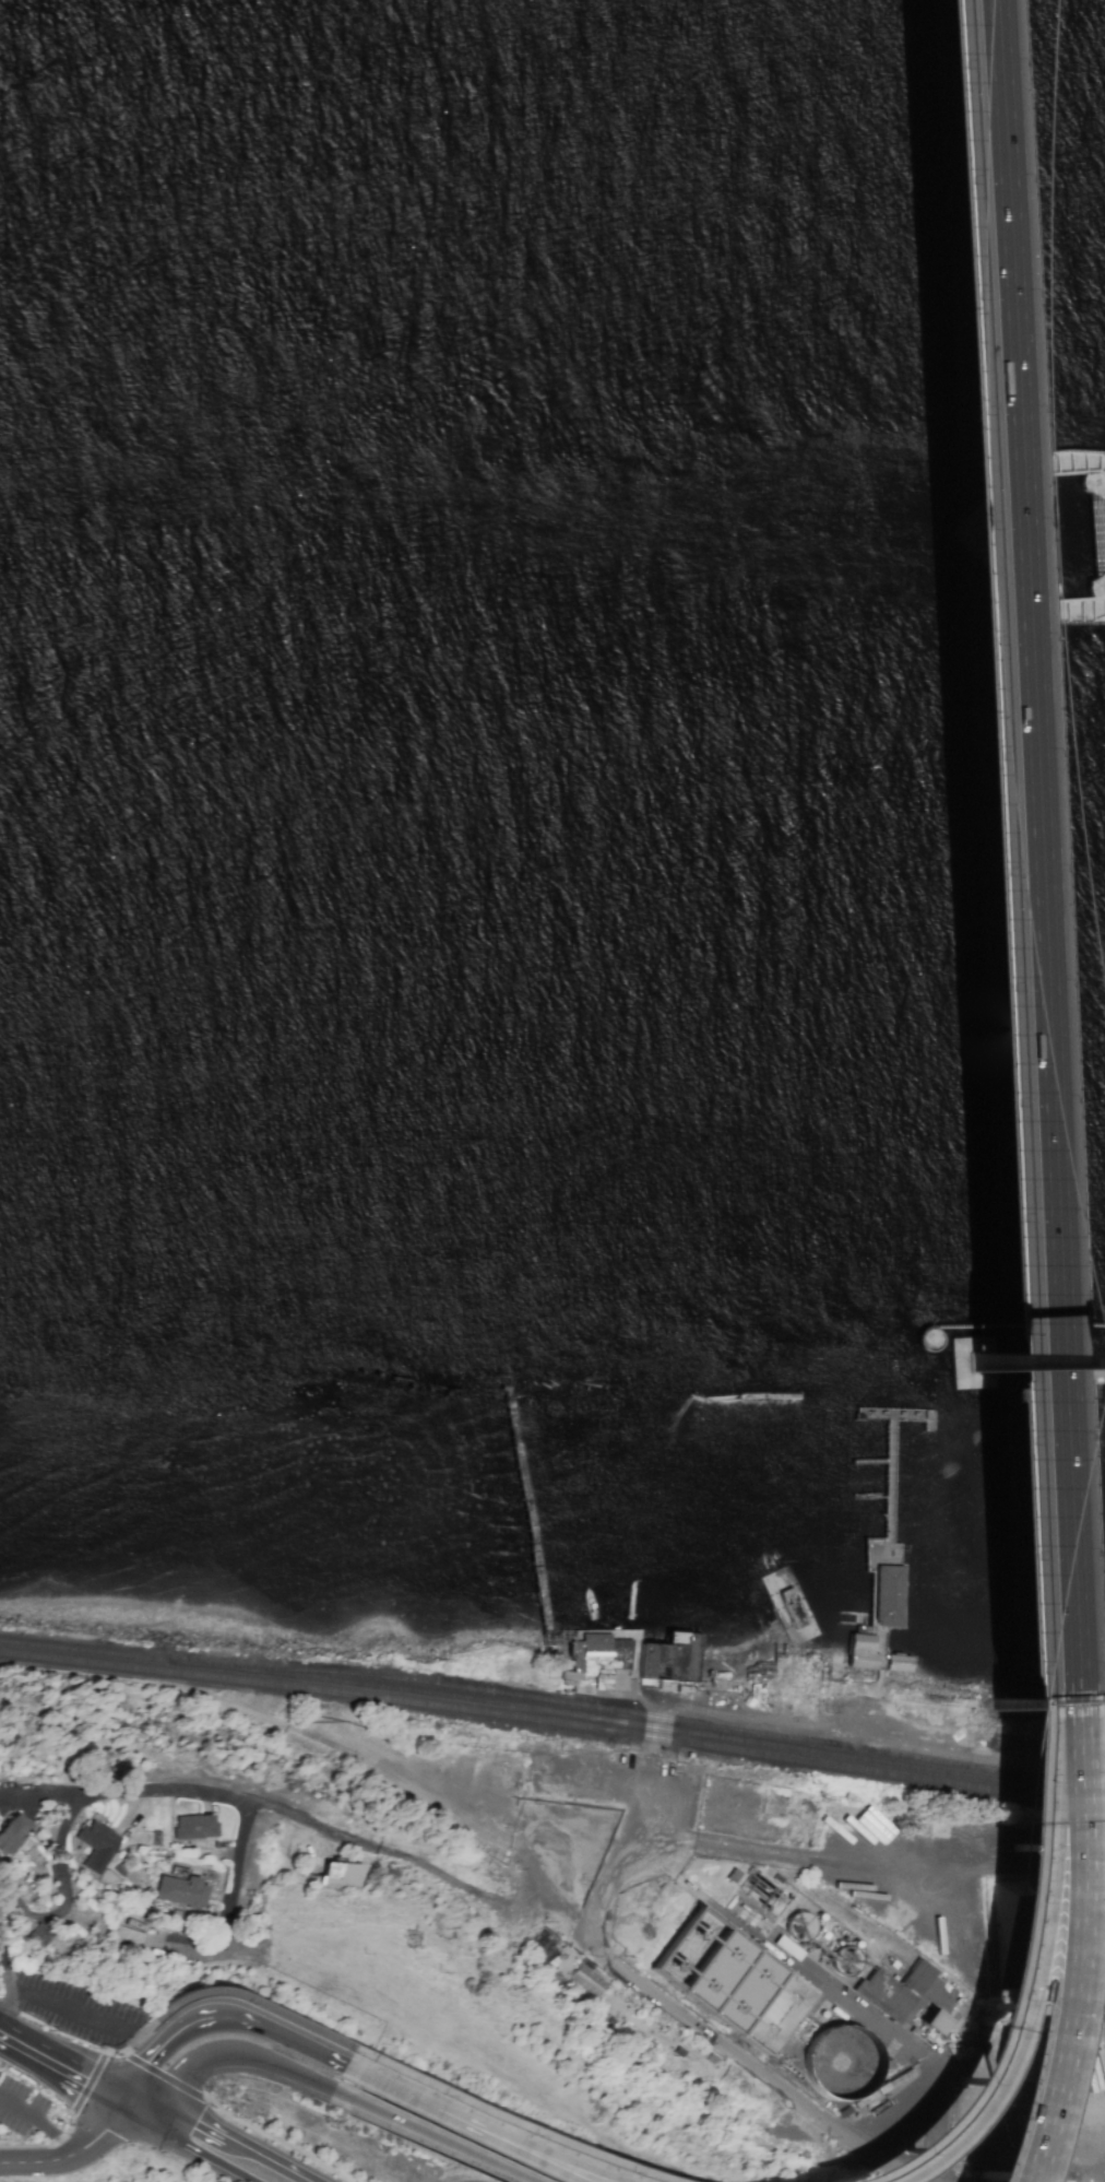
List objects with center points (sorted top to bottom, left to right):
road: (923, 260)
pier: (984, 549)
road: (990, 850)
pier: (932, 1337)
pier: (1012, 1359)
building: (1014, 1360)
road: (983, 1382)
pier: (895, 1413)
pier: (528, 1512)
pier: (886, 1547)
pier: (644, 1583)
building: (887, 1594)
pier: (782, 1612)
building: (773, 1628)
building: (593, 1643)
pier: (638, 1649)
building: (862, 1652)
building: (672, 1658)
building: (903, 1664)
railway: (228, 1672)
building: (571, 1674)
building: (611, 1680)
road: (650, 1707)
railway: (658, 1717)
railway: (554, 1723)
road: (314, 1737)
railway: (781, 1747)
road: (607, 1776)
road: (1, 1796)
road: (261, 1803)
road: (583, 1814)
building: (843, 1816)
parking lot: (595, 1818)
building: (194, 1827)
road: (675, 1829)
building: (12, 1833)
building: (96, 1845)
road: (570, 1857)
road: (890, 1864)
building: (342, 1875)
building: (180, 1891)
road: (62, 1894)
road: (229, 1895)
building: (41, 1935)
building: (129, 1937)
road: (1042, 1944)
road: (1007, 1963)
road: (7, 1966)
building: (718, 1970)
wastewater plant: (787, 1972)
building: (587, 1978)
building: (893, 1991)
road: (203, 1992)
road: (51, 2002)
parking lot: (78, 2008)
building: (776, 2014)
road: (219, 2016)
road: (871, 2019)
building: (934, 2024)
road: (715, 2043)
road: (24, 2044)
road: (233, 2054)
road: (67, 2067)
road: (114, 2092)
parking lot: (21, 2107)
traffic signals: (142, 2108)
road: (234, 2119)
road: (504, 2122)
road: (39, 2123)
road: (462, 2125)
road: (483, 2125)
road: (204, 2128)
road: (1068, 2130)
road: (109, 2134)
road: (433, 2135)
road: (190, 2150)
road: (37, 2160)
road: (1057, 2165)
road: (284, 2170)

